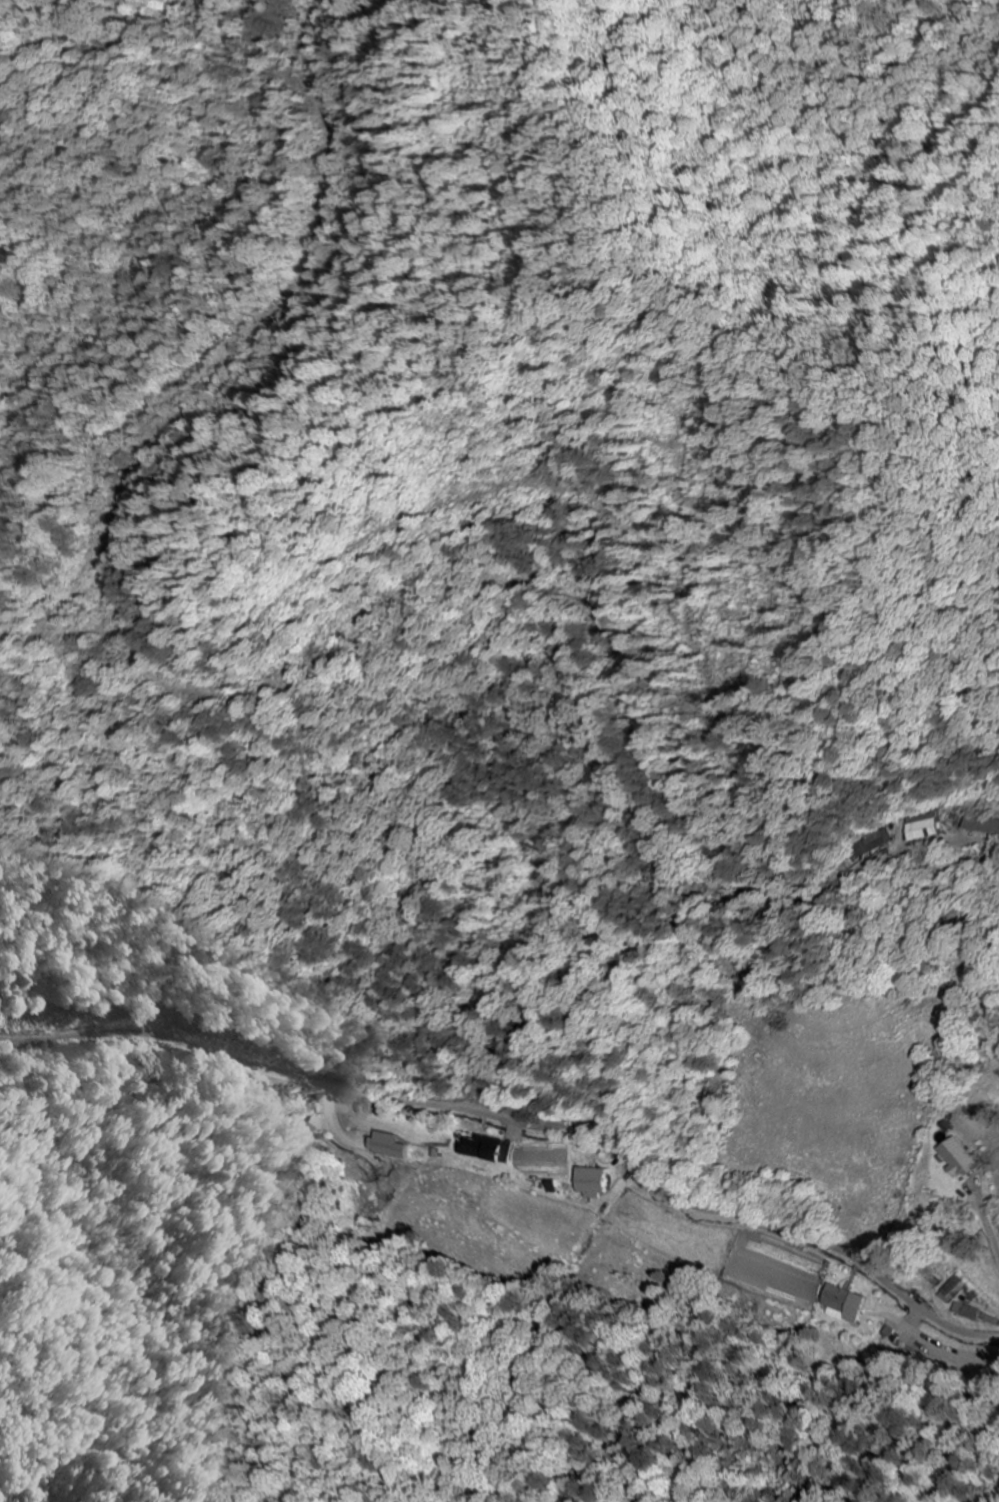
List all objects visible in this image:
building: (981, 826)
building: (922, 827)
building: (870, 844)
road: (526, 1122)
building: (386, 1146)
building: (484, 1150)
building: (956, 1159)
building: (591, 1183)
building: (952, 1291)
building: (842, 1302)
building: (966, 1312)

